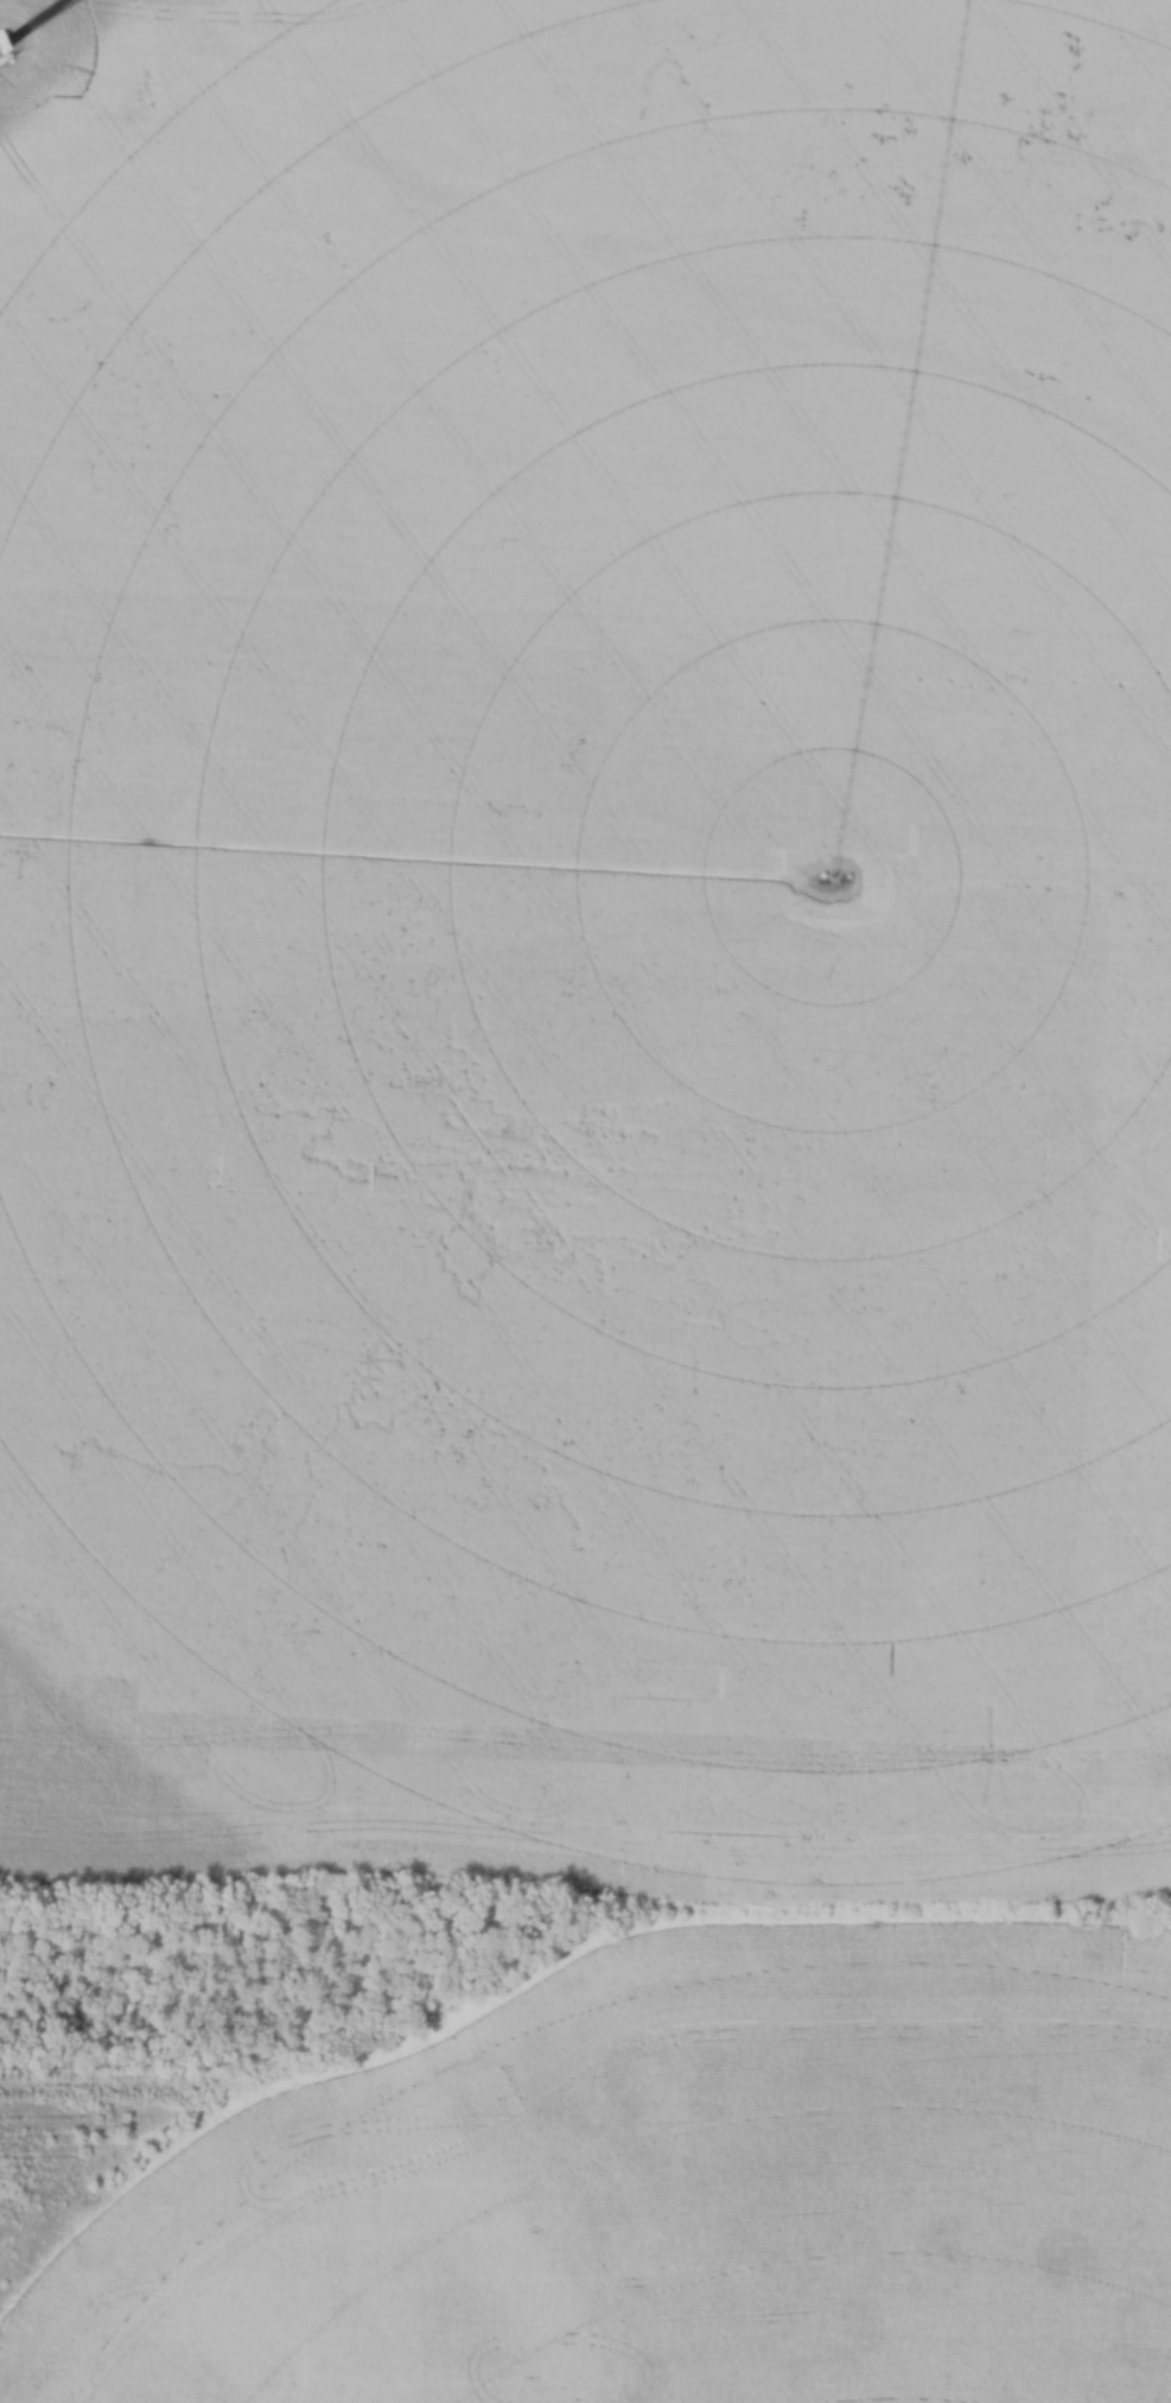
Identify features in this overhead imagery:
wind turbine: (5, 42)

